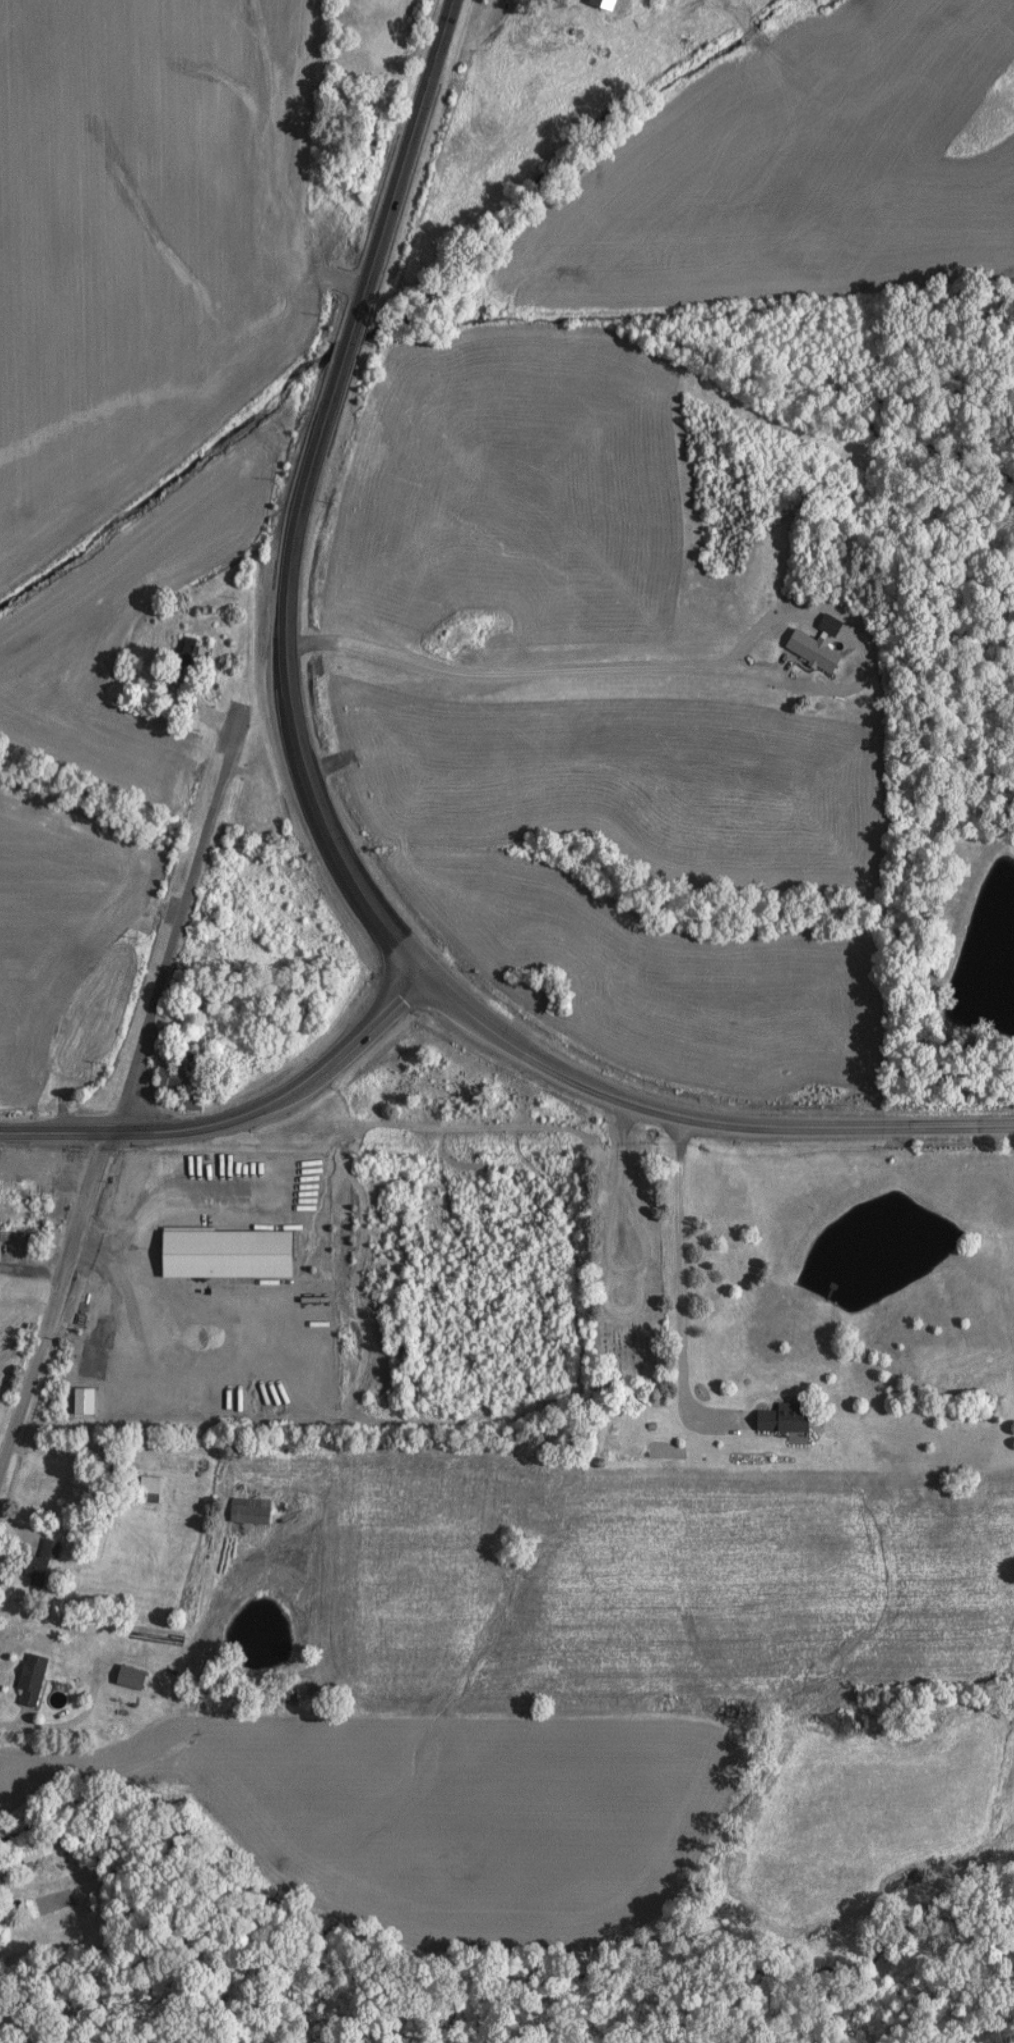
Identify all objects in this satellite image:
building: (590, 5)
road: (308, 490)
building: (822, 625)
building: (803, 651)
building: (190, 660)
road: (533, 673)
road: (179, 919)
building: (172, 1079)
road: (235, 1111)
road: (695, 1120)
building: (47, 1166)
road: (621, 1169)
road: (144, 1210)
park: (639, 1232)
building: (228, 1254)
road: (31, 1262)
road: (679, 1278)
road: (53, 1293)
road: (600, 1295)
building: (81, 1400)
building: (771, 1419)
building: (147, 1488)
building: (246, 1513)
building: (37, 1564)
building: (131, 1678)
building: (29, 1680)
road: (38, 1734)
road: (22, 2025)

